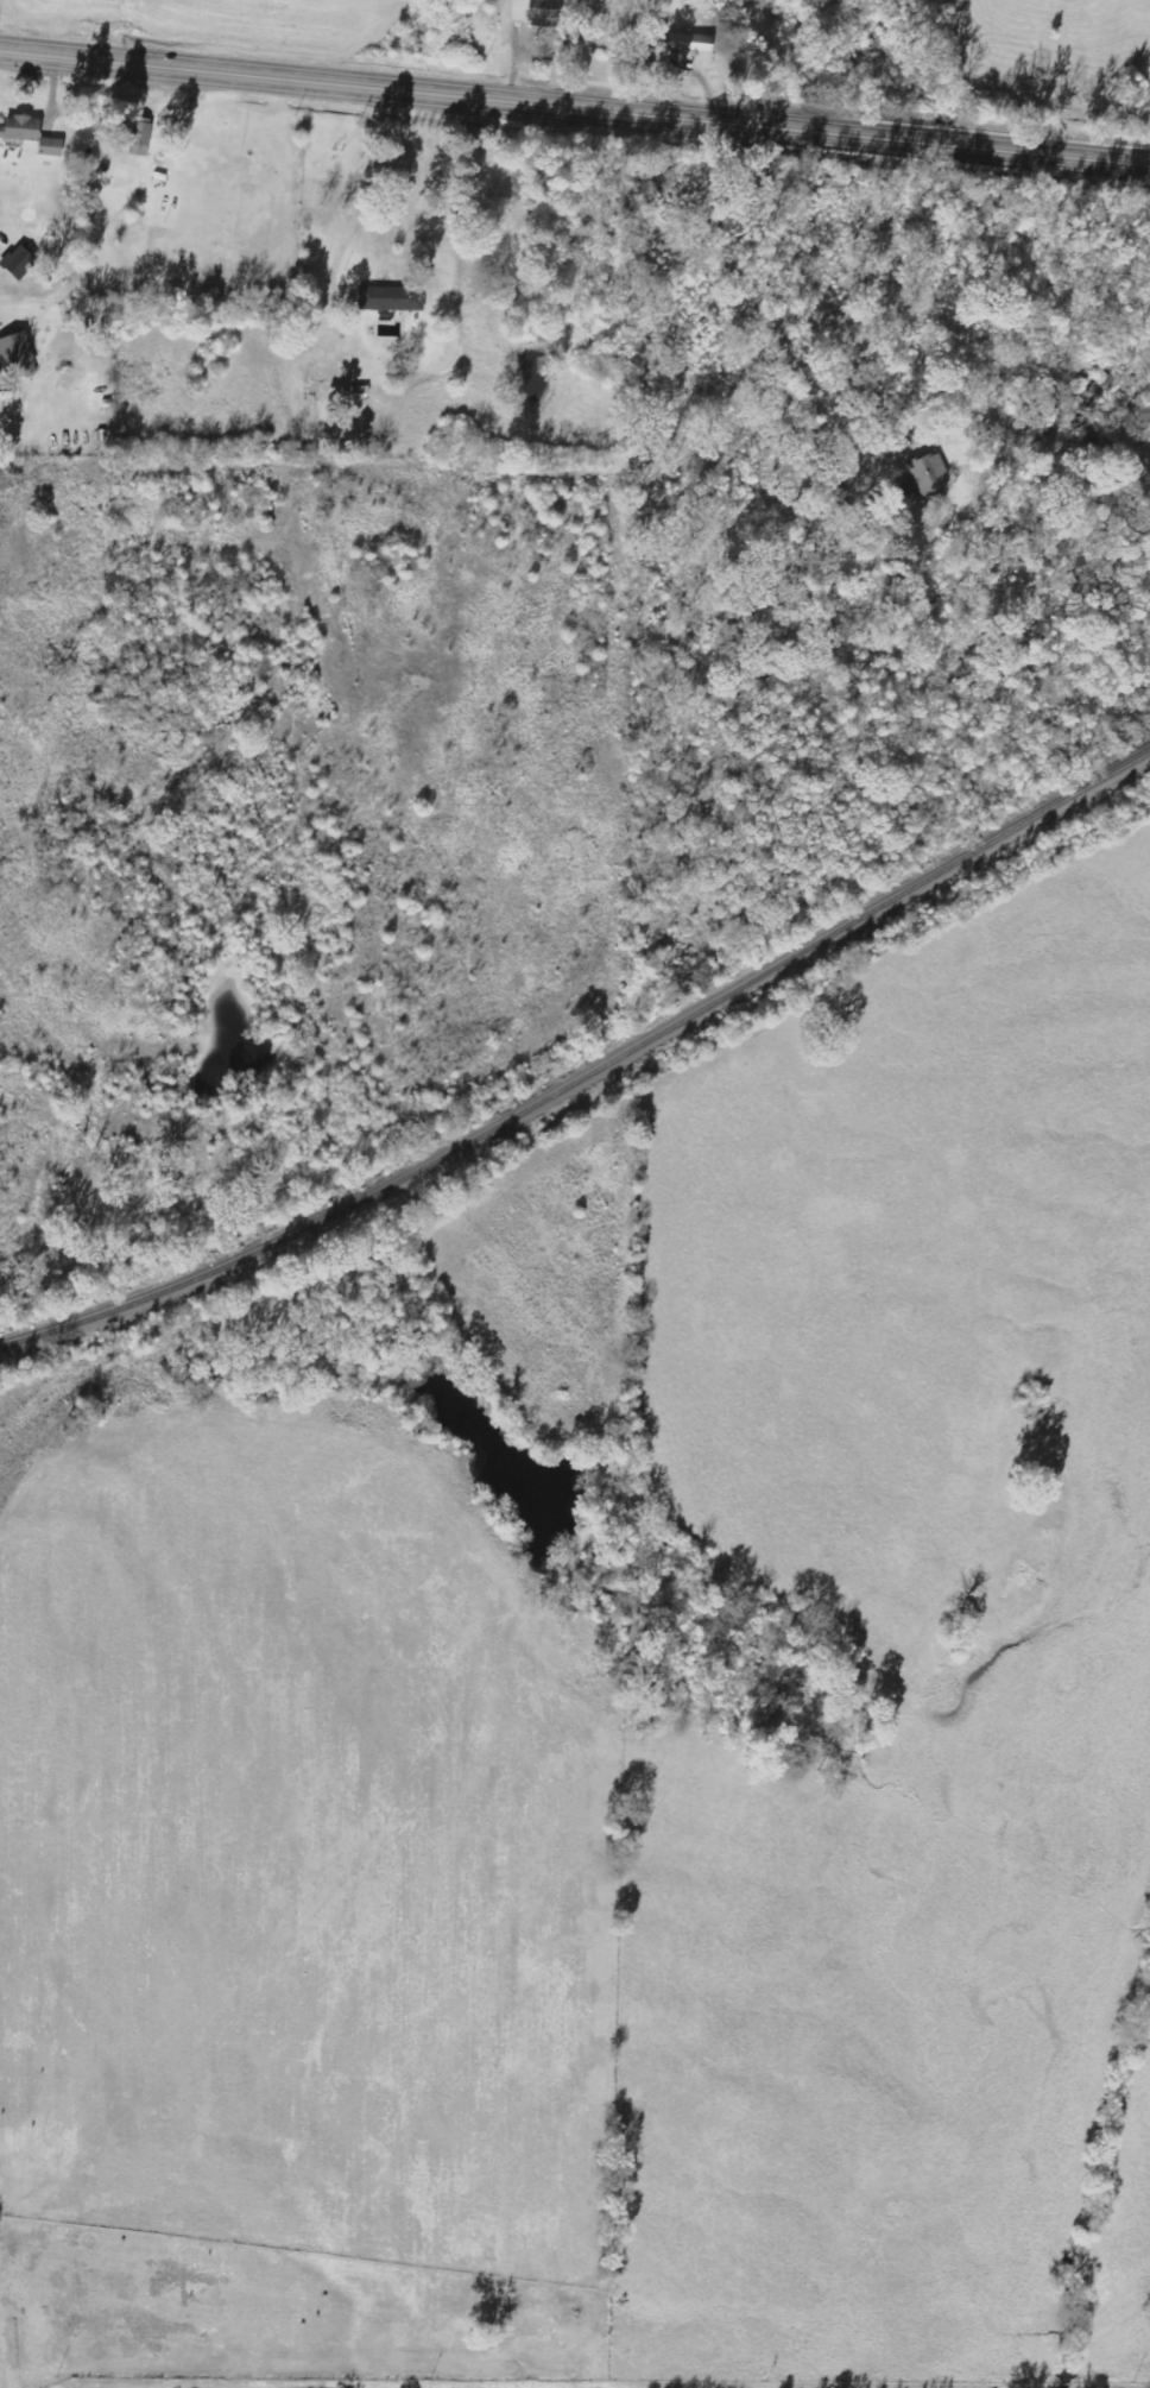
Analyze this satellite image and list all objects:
building: (529, 7)
building: (688, 43)
road: (575, 107)
building: (19, 127)
building: (137, 137)
building: (48, 147)
road: (576, 228)
building: (15, 263)
building: (388, 298)
building: (15, 353)
road: (238, 499)
railway: (587, 1073)

